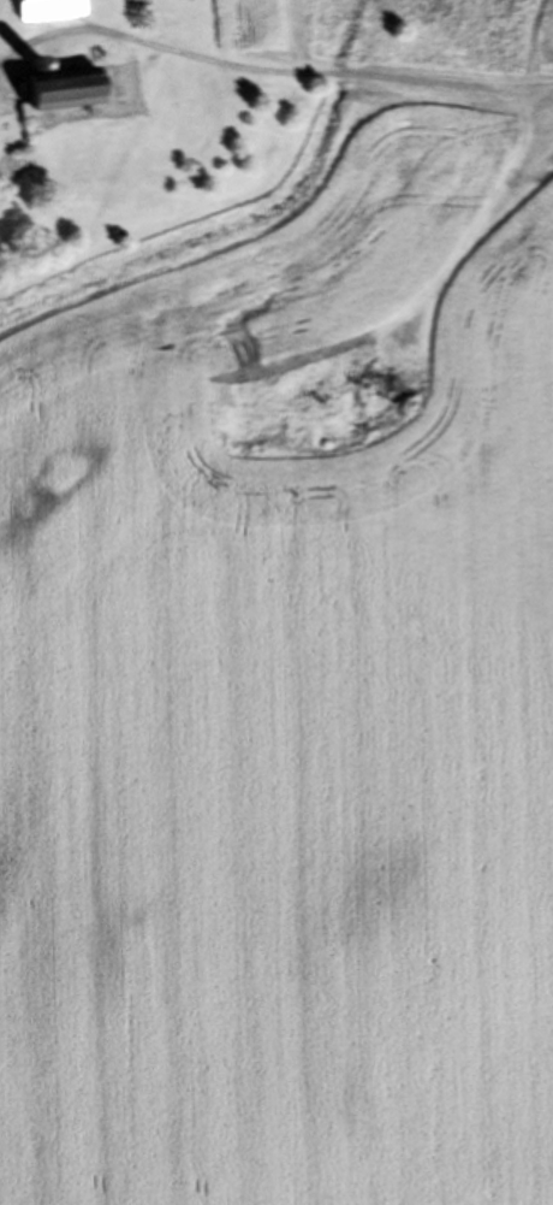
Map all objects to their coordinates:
building: (43, 12)
road: (269, 79)
building: (69, 94)

